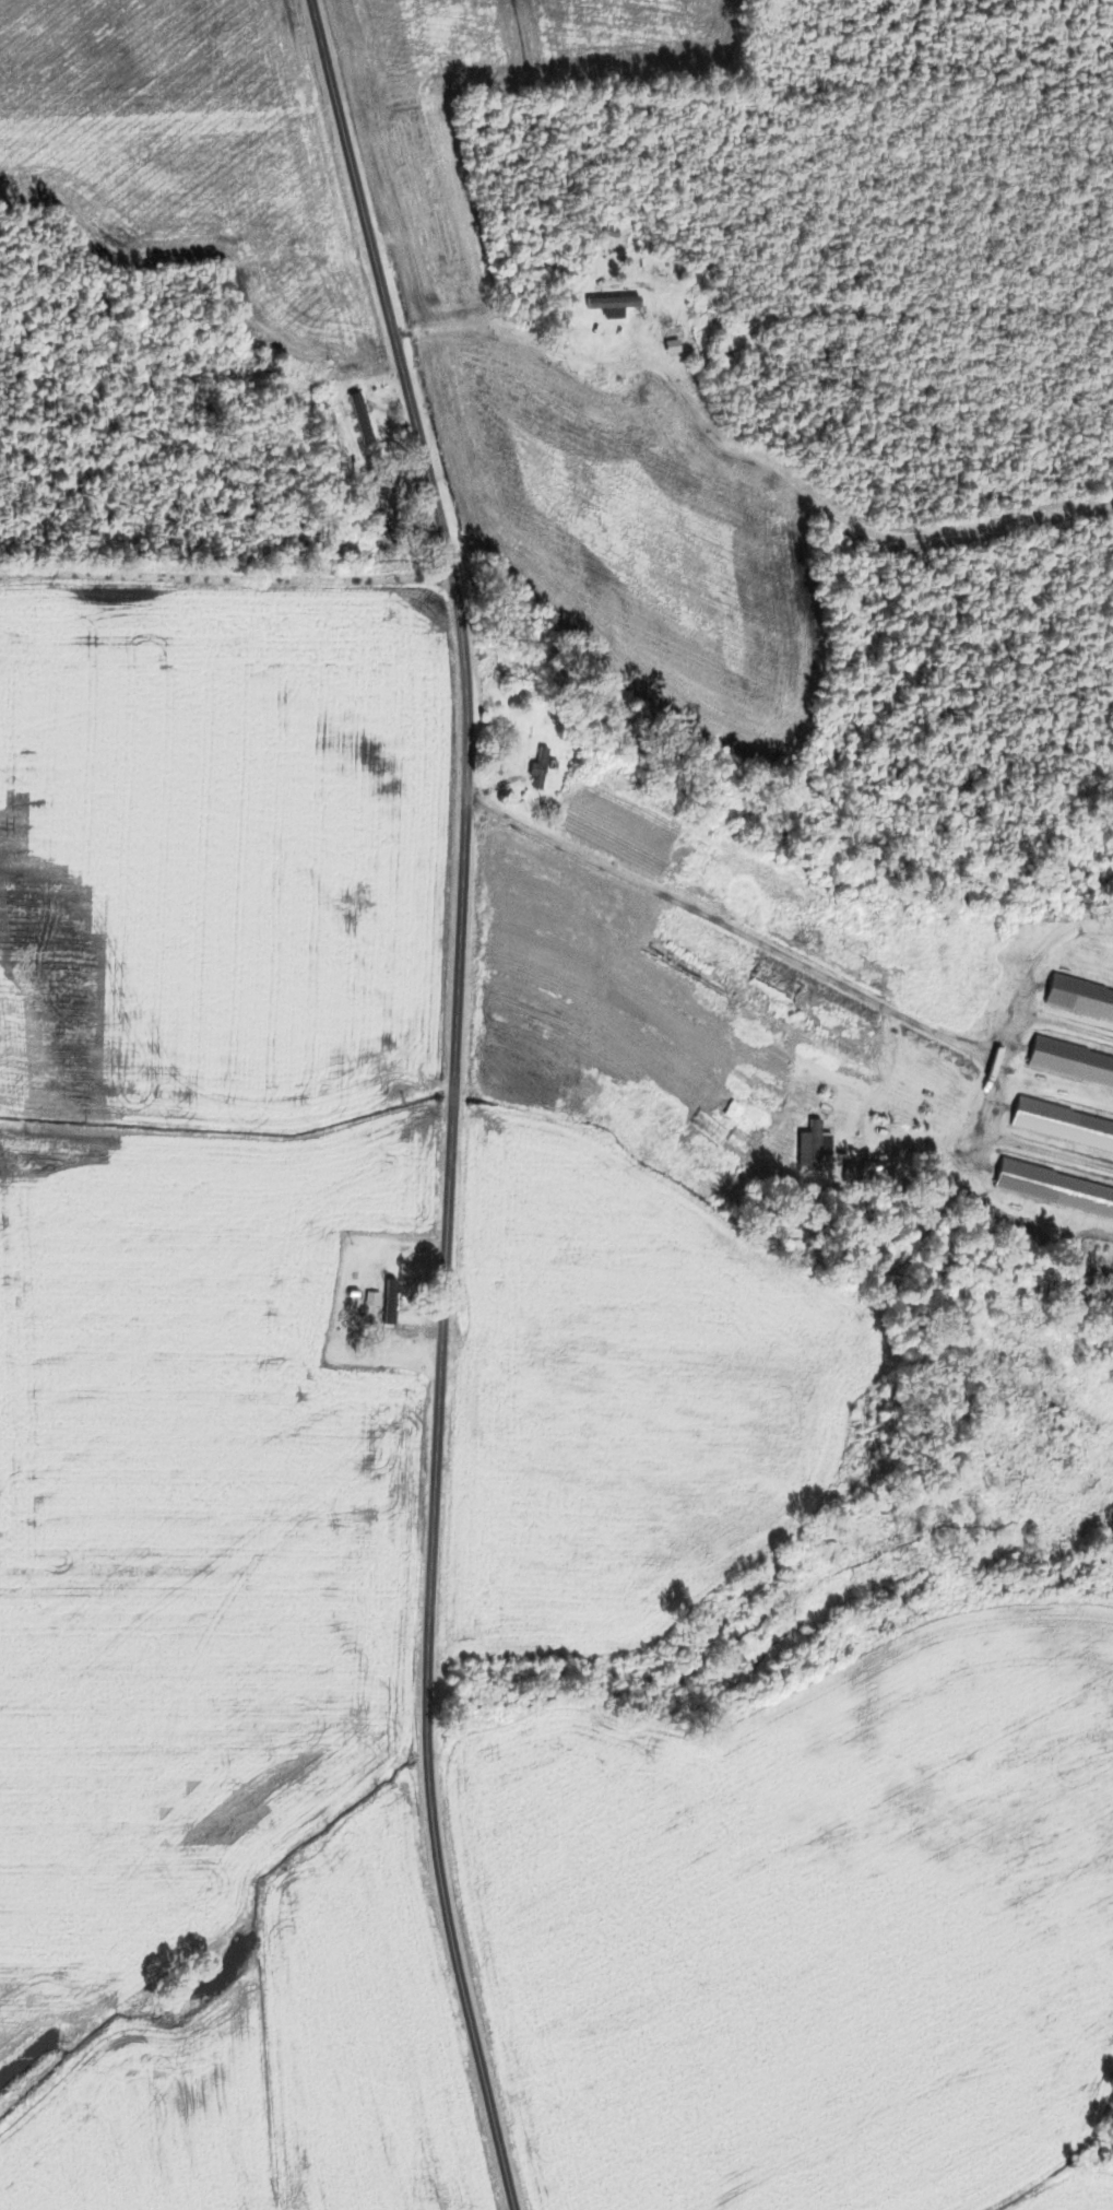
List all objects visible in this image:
road: (518, 333)
building: (260, 344)
building: (267, 373)
building: (360, 415)
building: (369, 479)
road: (241, 583)
road: (724, 926)
building: (1080, 1000)
building: (1071, 1065)
road: (453, 1101)
building: (1063, 1127)
building: (815, 1147)
building: (711, 1150)
building: (1054, 1191)
building: (371, 1298)
building: (391, 1302)
building: (852, 1468)

